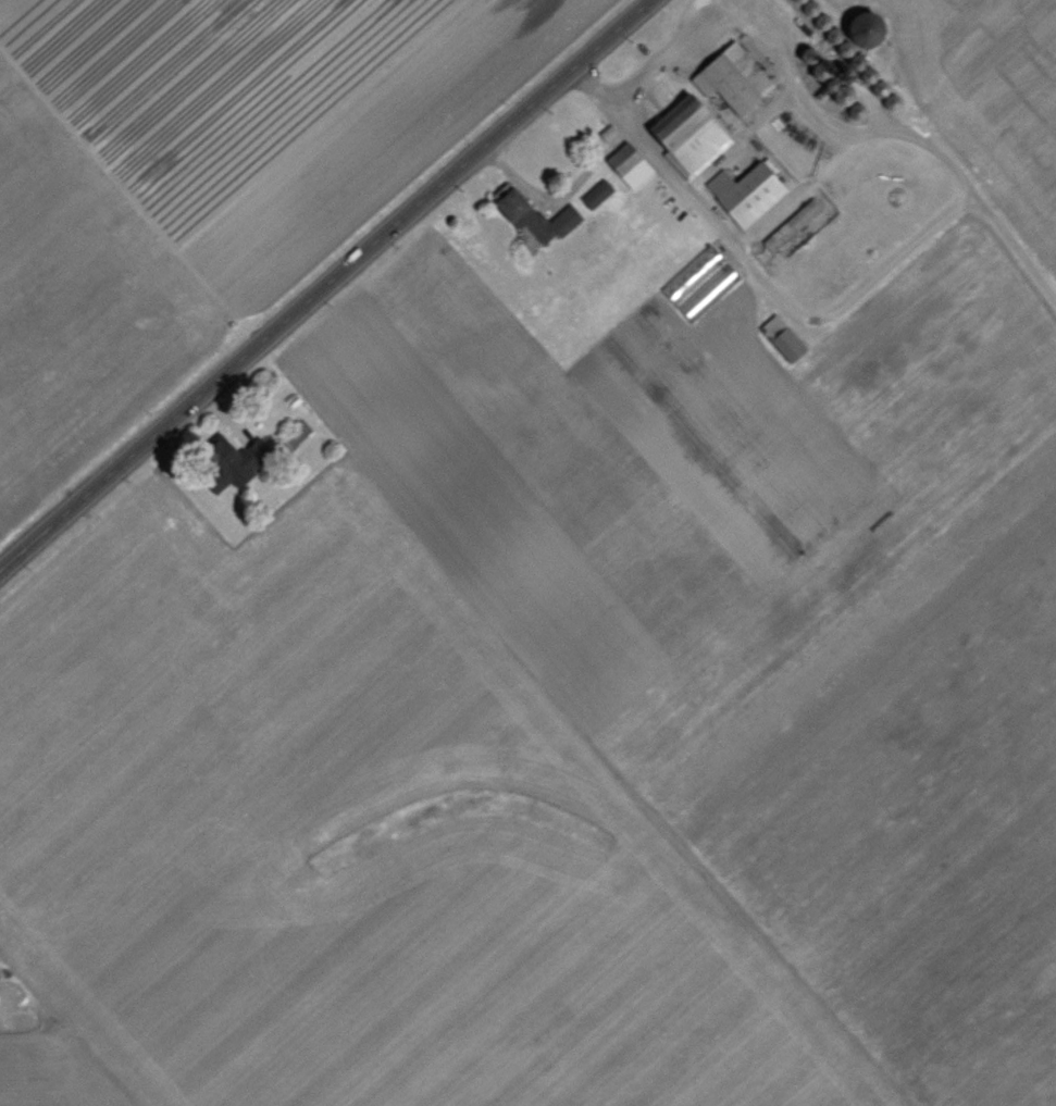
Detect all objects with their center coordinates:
building: (860, 26)
road: (649, 64)
building: (730, 76)
building: (607, 132)
building: (686, 134)
building: (628, 163)
building: (745, 190)
building: (596, 192)
building: (532, 212)
building: (793, 221)
road: (1015, 247)
road: (904, 252)
building: (699, 282)
road: (325, 286)
building: (780, 336)
building: (225, 463)

